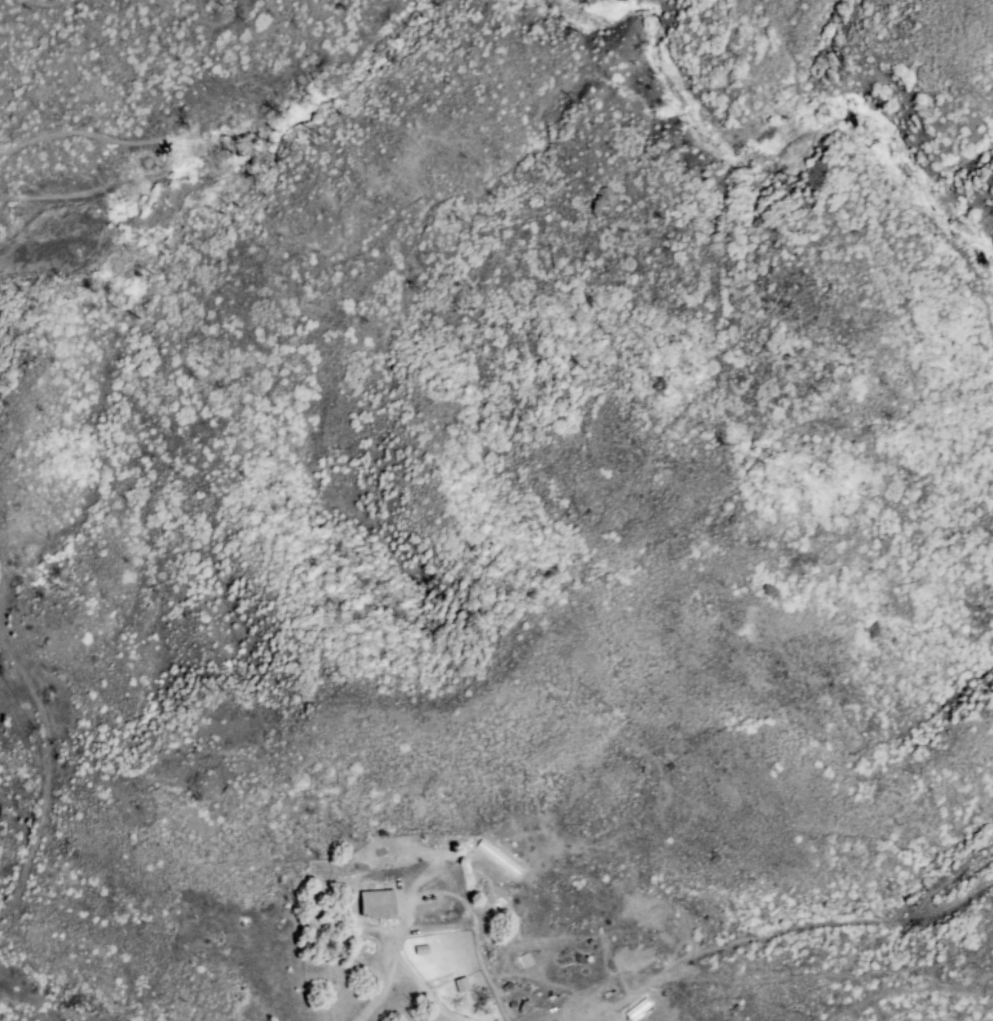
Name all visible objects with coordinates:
road: (213, 143)
road: (44, 779)
building: (515, 819)
storage tank: (431, 896)
storage tank: (425, 899)
road: (928, 899)
building: (380, 904)
building: (471, 927)
building: (423, 950)
building: (523, 963)
building: (567, 963)
road: (384, 983)
building: (462, 984)
road: (907, 987)
building: (568, 1020)

